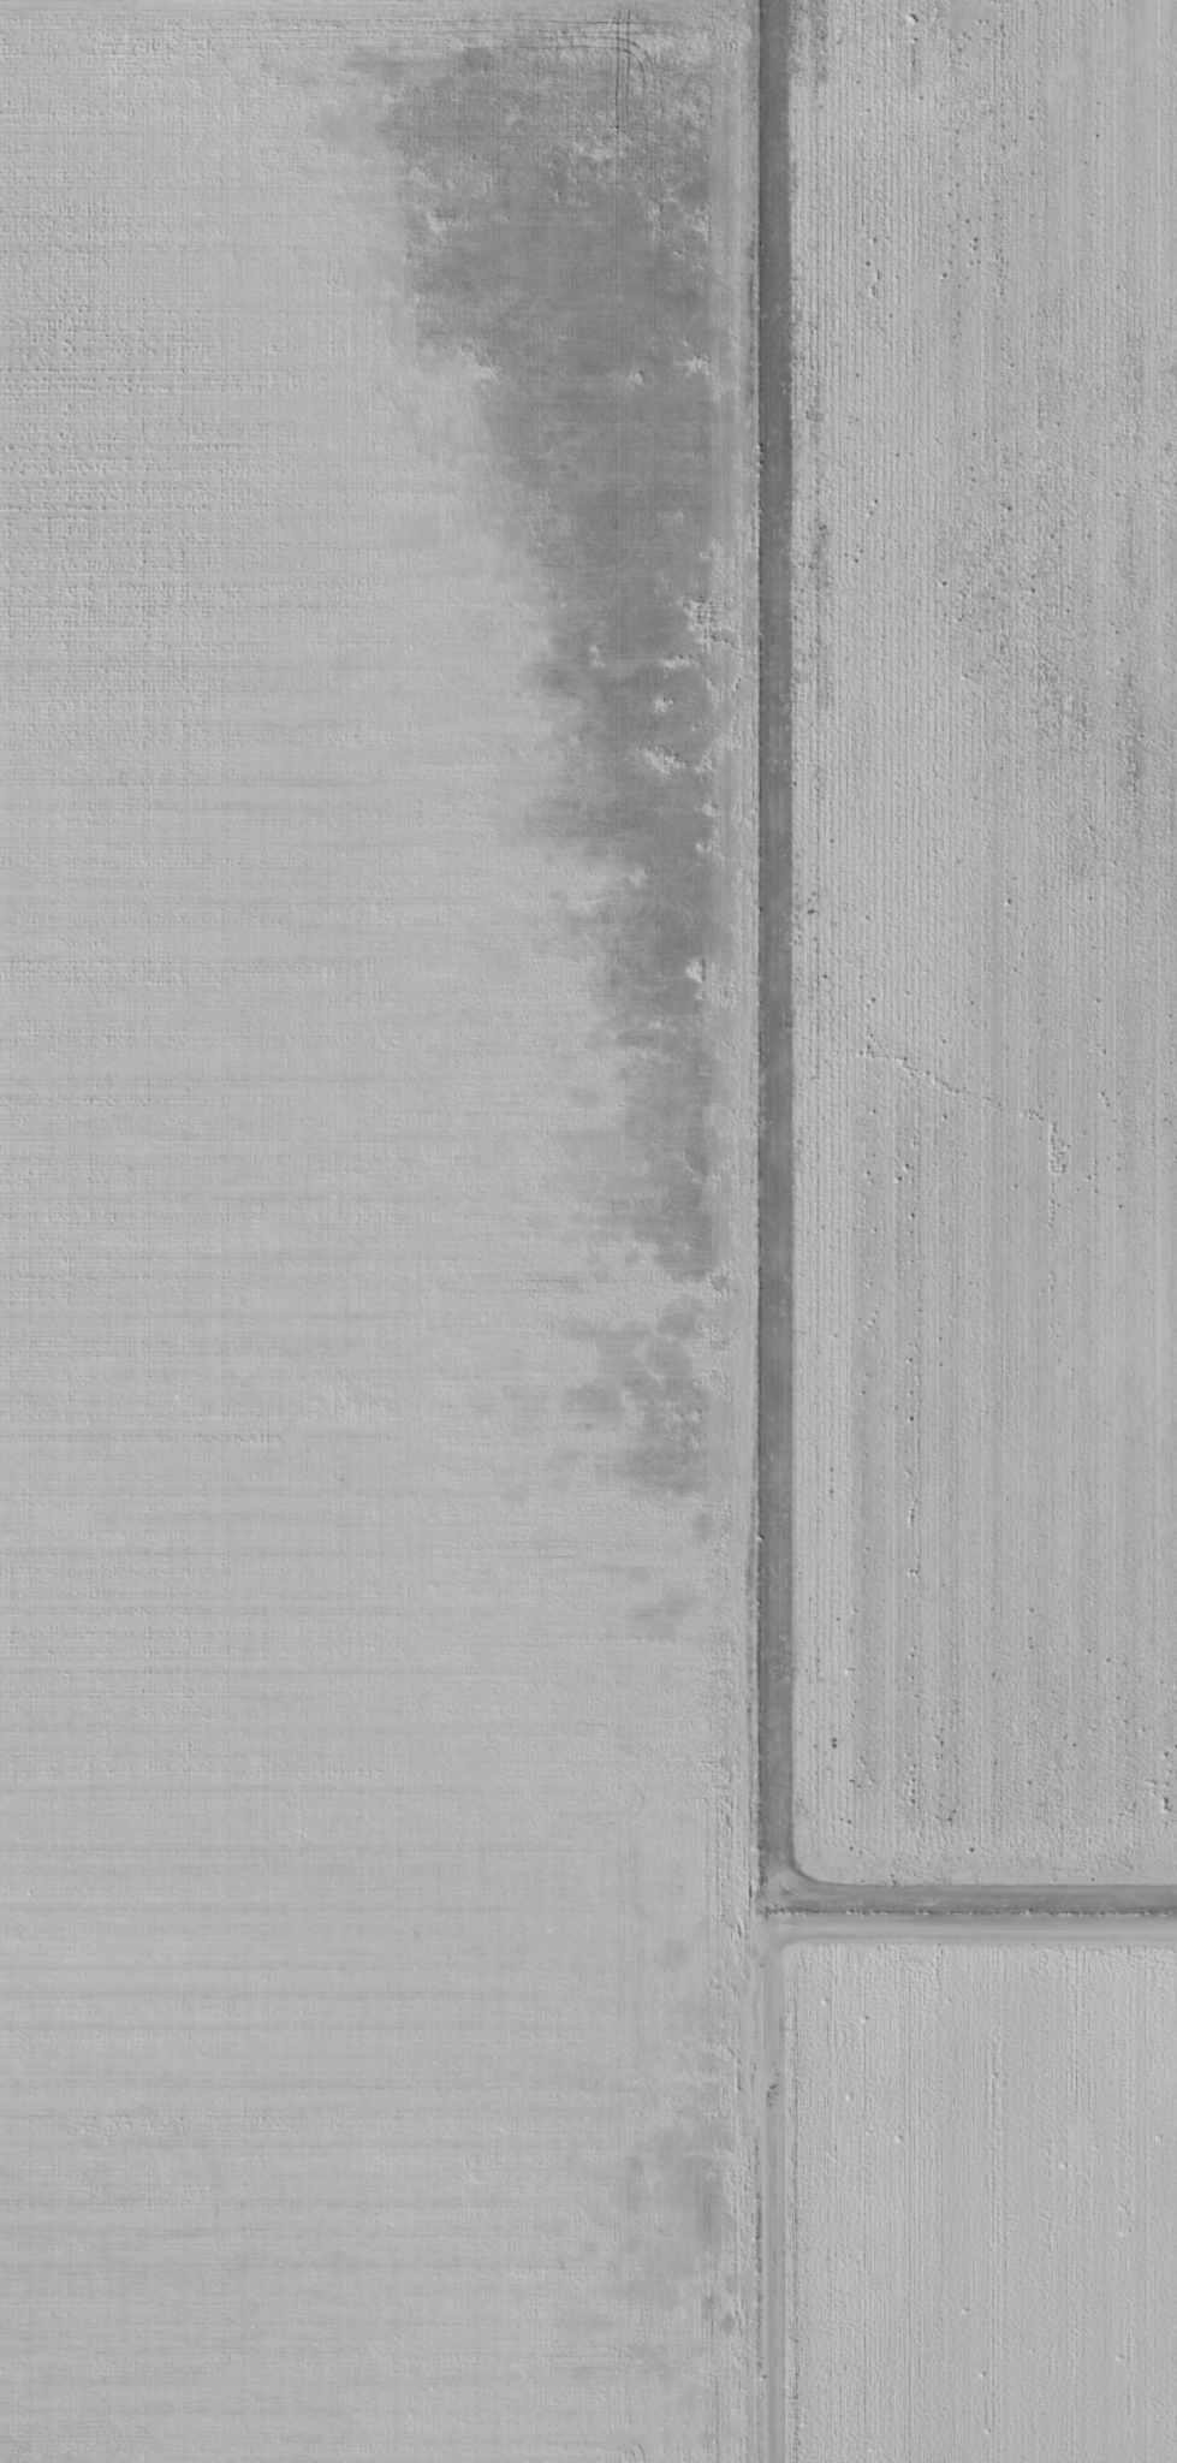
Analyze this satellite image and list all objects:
road: (977, 1928)

